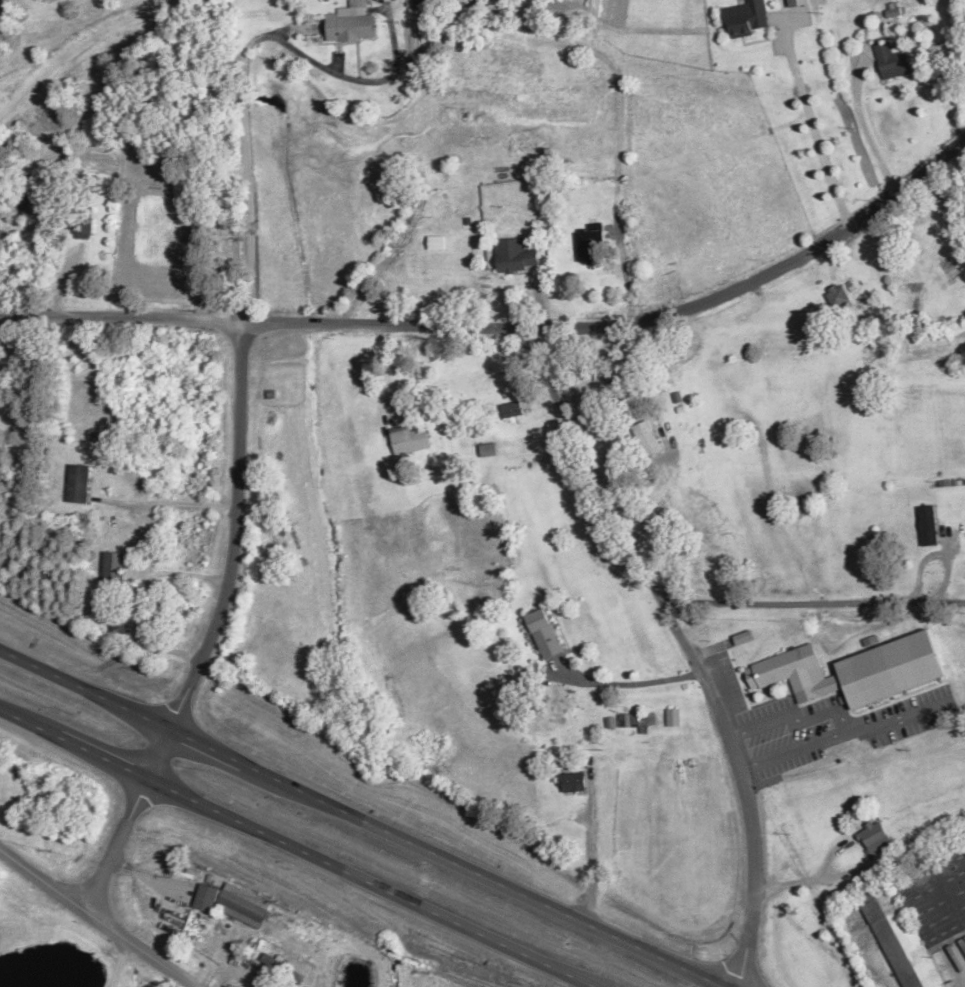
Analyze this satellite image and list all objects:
building: (461, 3)
building: (425, 4)
building: (747, 19)
building: (351, 23)
building: (892, 62)
building: (23, 195)
building: (82, 226)
building: (589, 241)
building: (518, 261)
building: (838, 298)
road: (509, 331)
building: (467, 382)
building: (516, 409)
building: (645, 436)
building: (412, 440)
building: (78, 484)
building: (929, 526)
building: (114, 571)
building: (119, 622)
road: (216, 630)
building: (545, 633)
building: (744, 638)
road: (686, 646)
building: (789, 670)
road: (85, 689)
building: (673, 717)
building: (635, 720)
road: (29, 723)
road: (207, 746)
road: (103, 757)
building: (572, 783)
building: (12, 800)
building: (877, 839)
road: (861, 864)
road: (482, 875)
road: (368, 882)
building: (206, 898)
building: (243, 906)
building: (919, 919)
road: (96, 920)
road: (120, 964)

